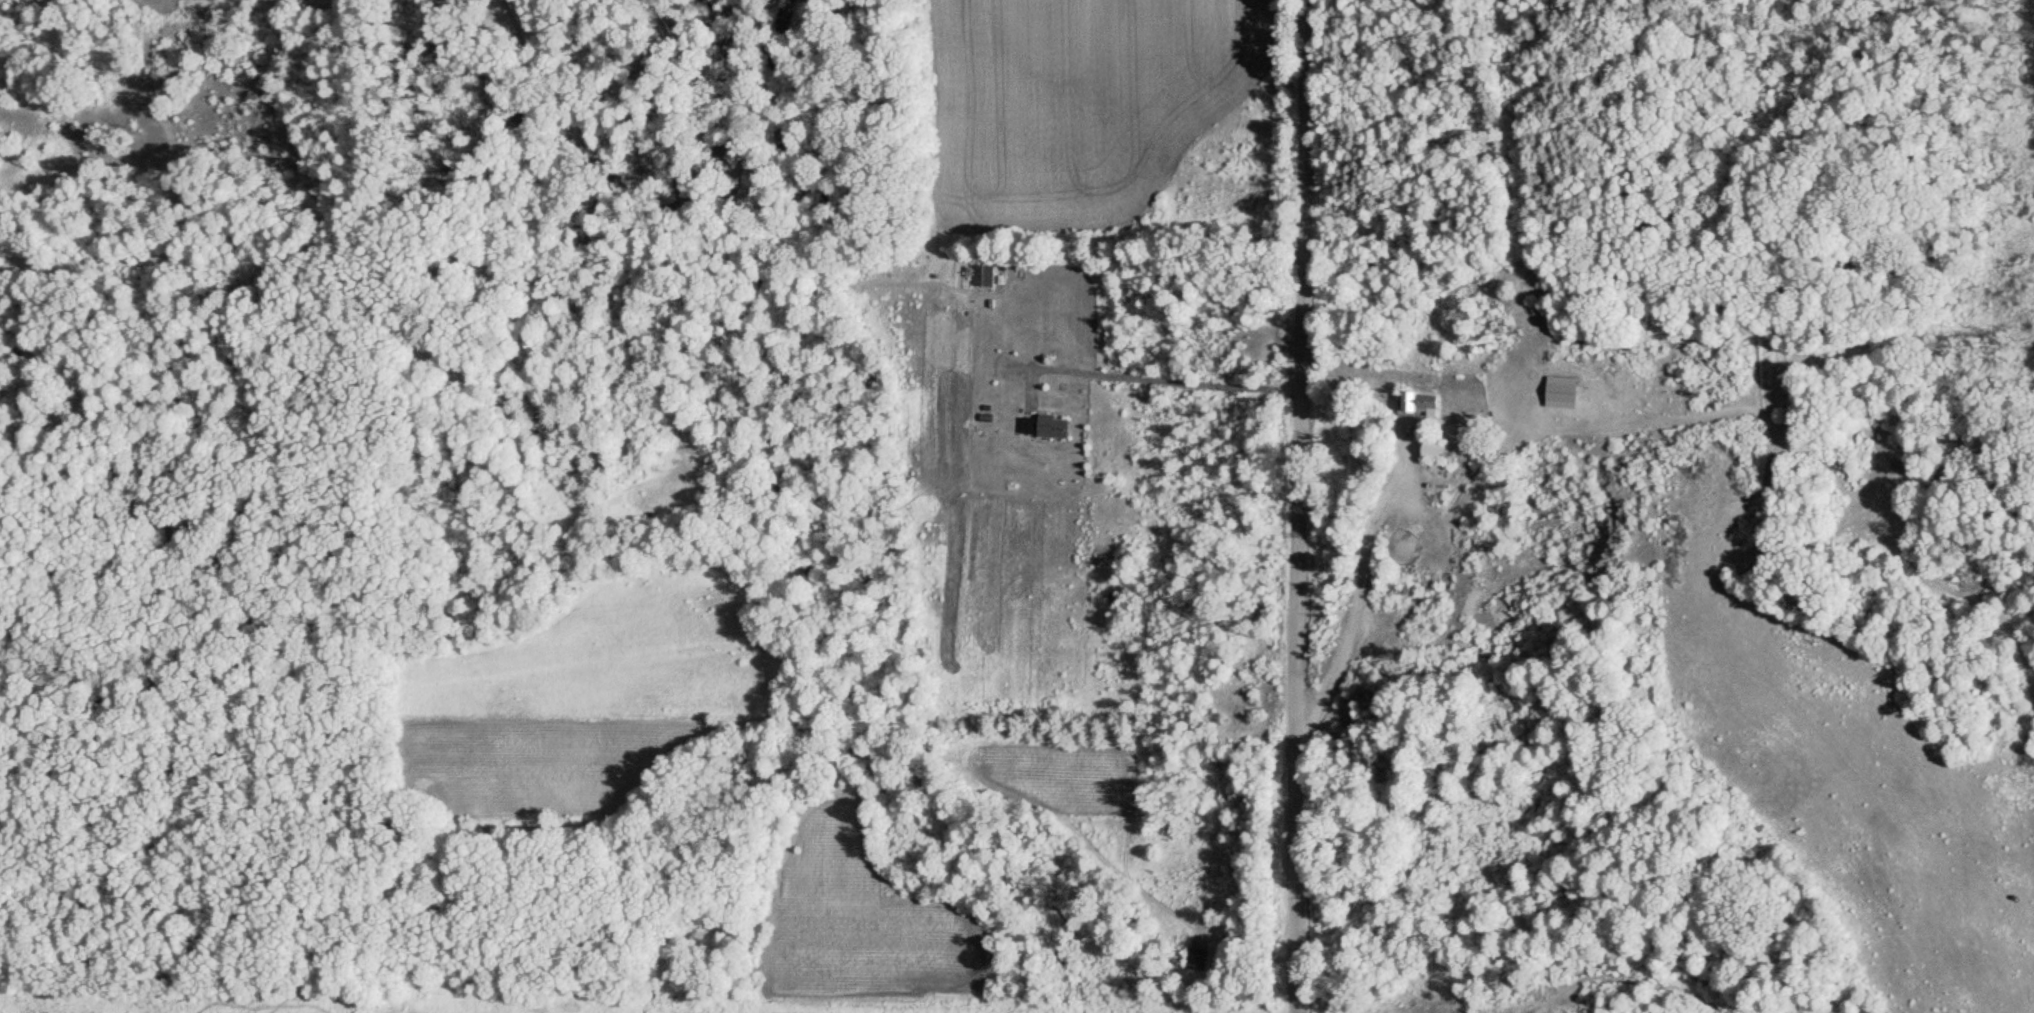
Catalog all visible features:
building: (981, 275)
building: (1414, 403)
building: (1041, 427)
building: (1426, 450)
road: (1285, 506)

